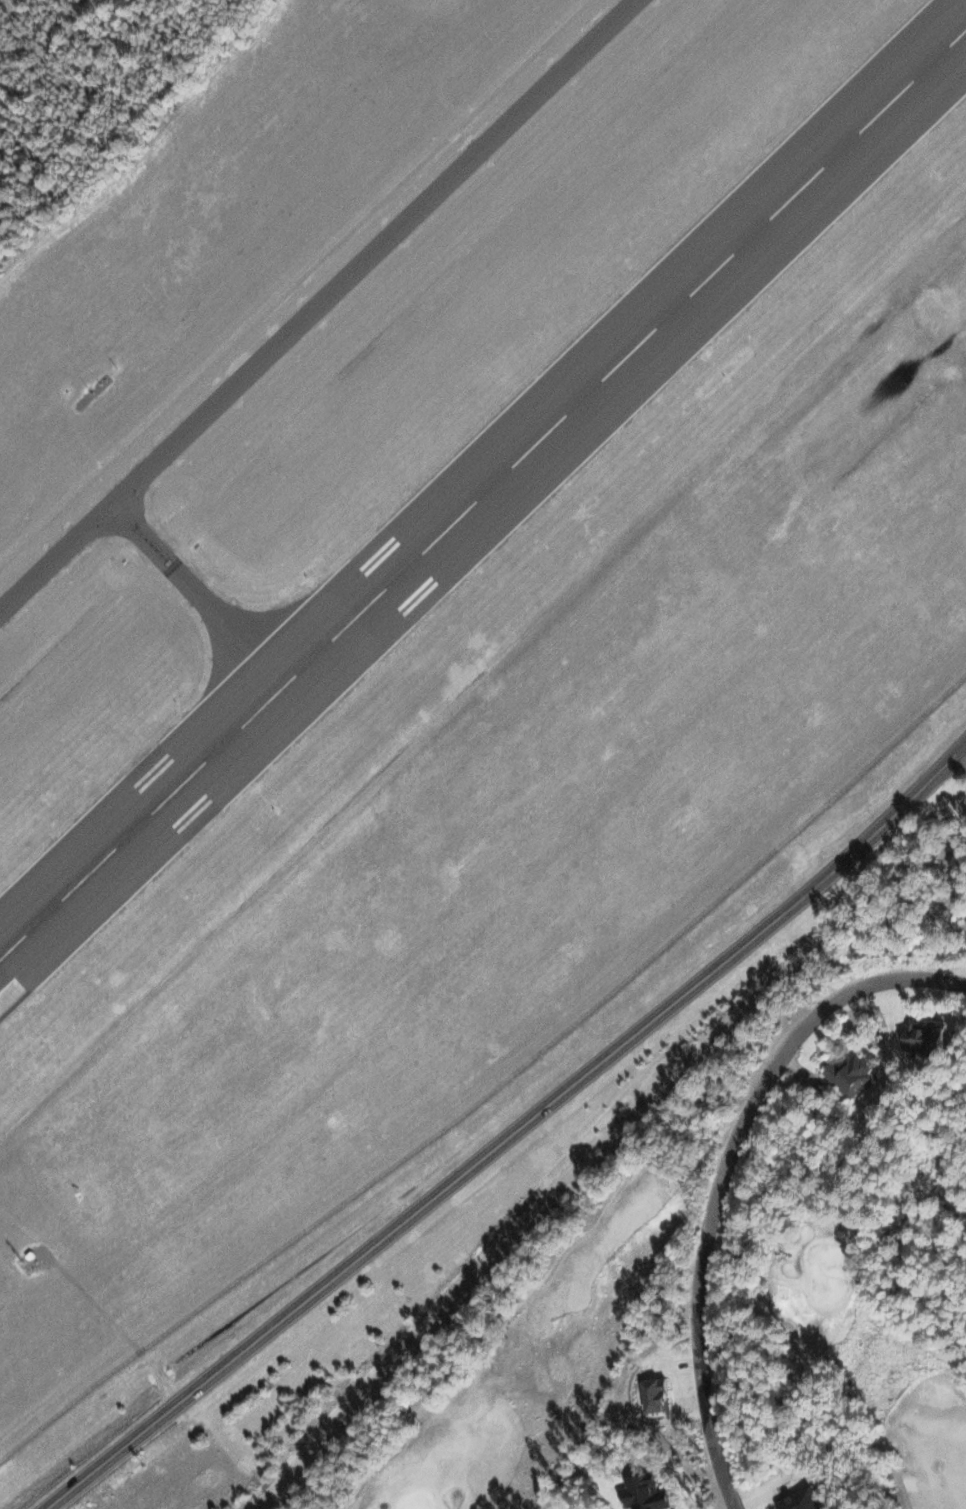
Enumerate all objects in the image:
airport taxiway: (317, 305)
airport runway: (483, 492)
airport taxiway: (131, 503)
airport taxiway: (159, 552)
airport: (440, 607)
airport taxiway: (275, 638)
airport taxiway: (238, 673)
road: (963, 752)
building: (929, 1036)
building: (853, 1071)
road: (504, 1129)
road: (723, 1172)
park: (851, 1325)
building: (662, 1393)
building: (646, 1395)
building: (649, 1492)
building: (805, 1500)

